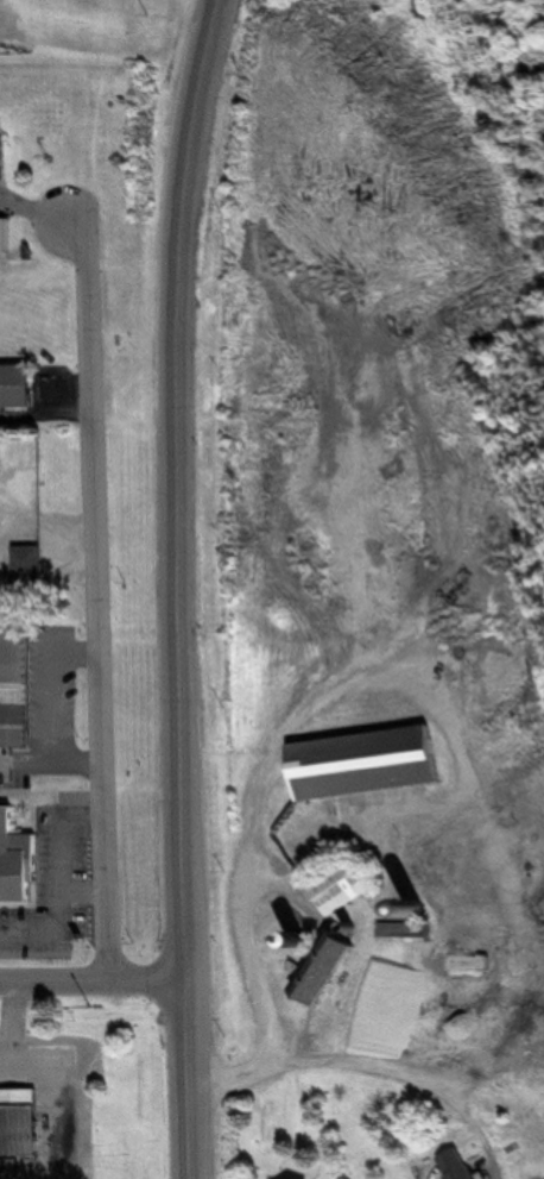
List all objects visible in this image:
building: (4, 138)
building: (18, 388)
building: (0, 456)
building: (29, 570)
road: (183, 587)
road: (99, 598)
building: (15, 690)
building: (368, 761)
building: (17, 859)
building: (342, 885)
building: (406, 933)
building: (325, 967)
road: (93, 980)
road: (372, 1092)
building: (20, 1122)
building: (458, 1165)

